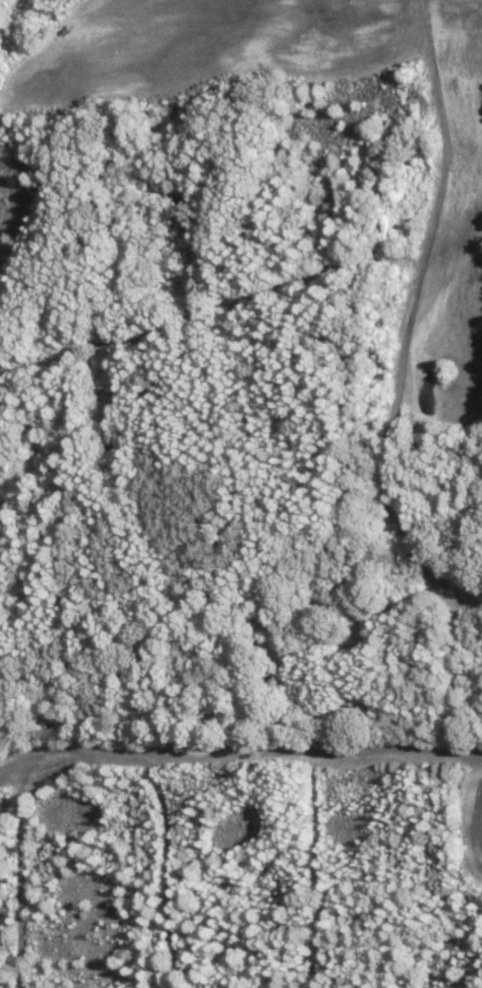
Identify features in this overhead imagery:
road: (438, 95)

